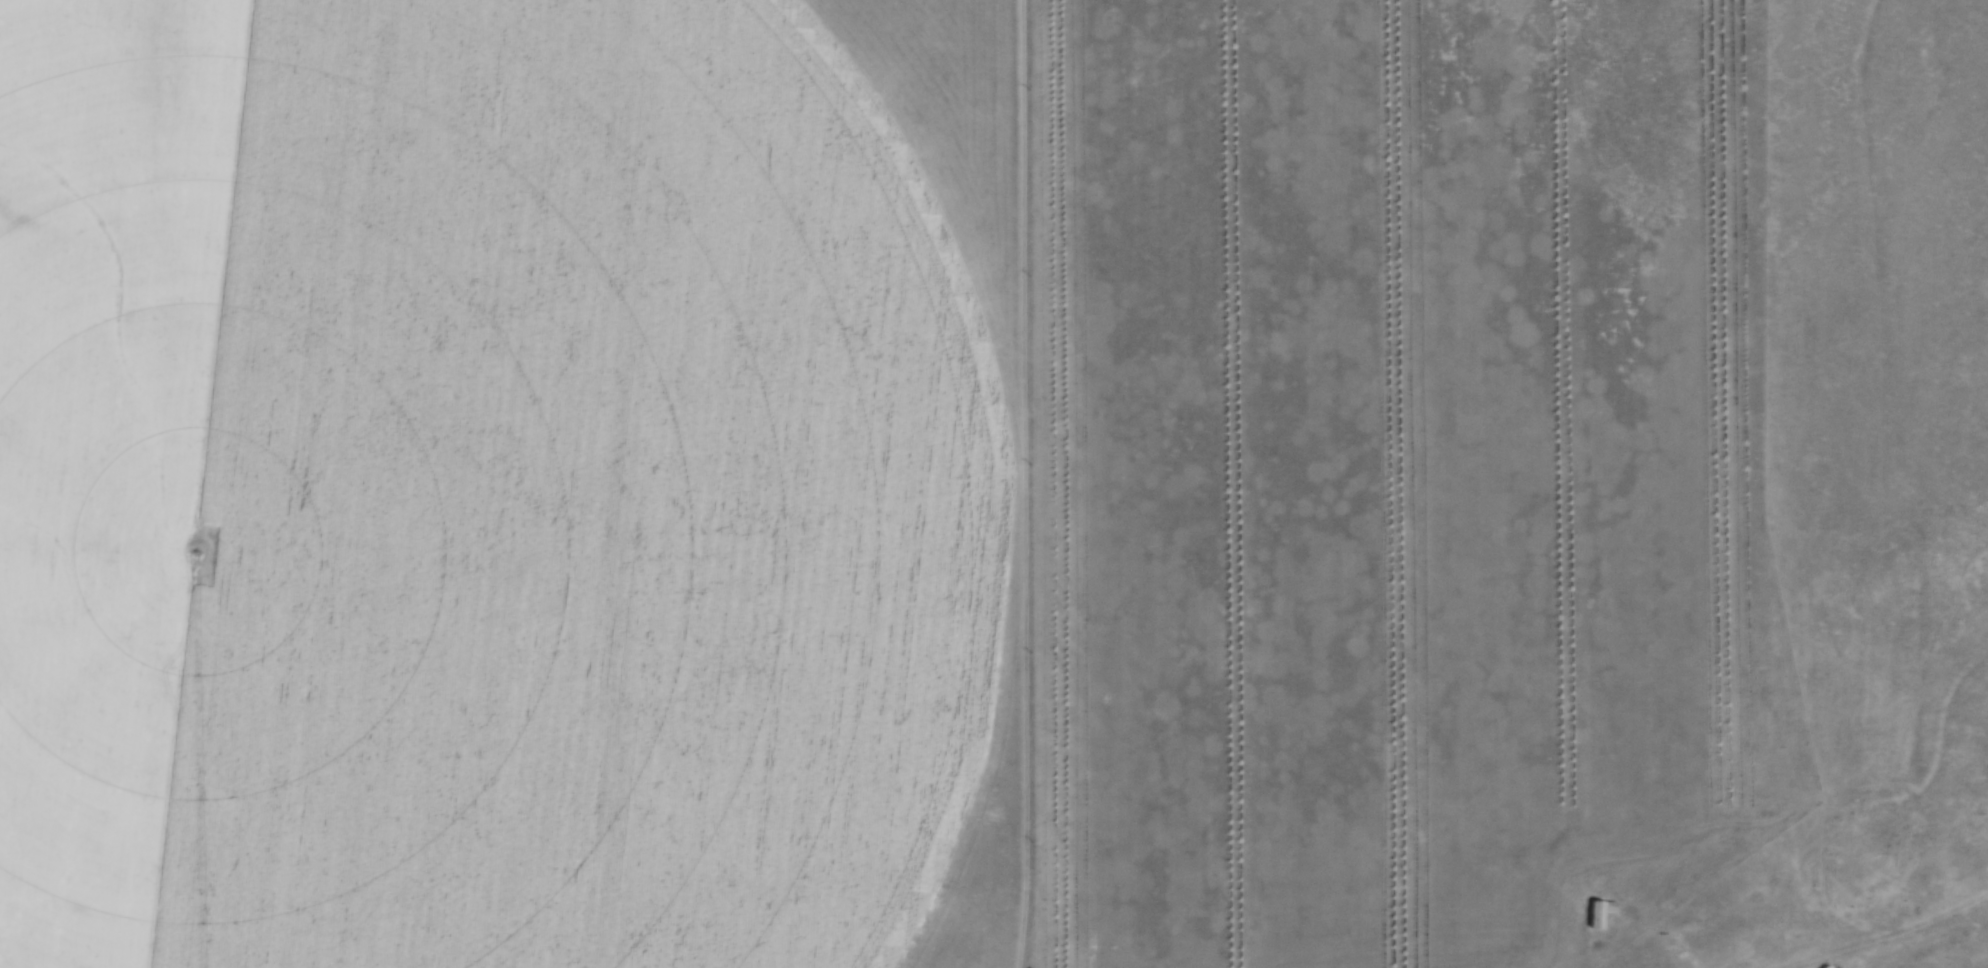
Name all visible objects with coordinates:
building: (1596, 911)

